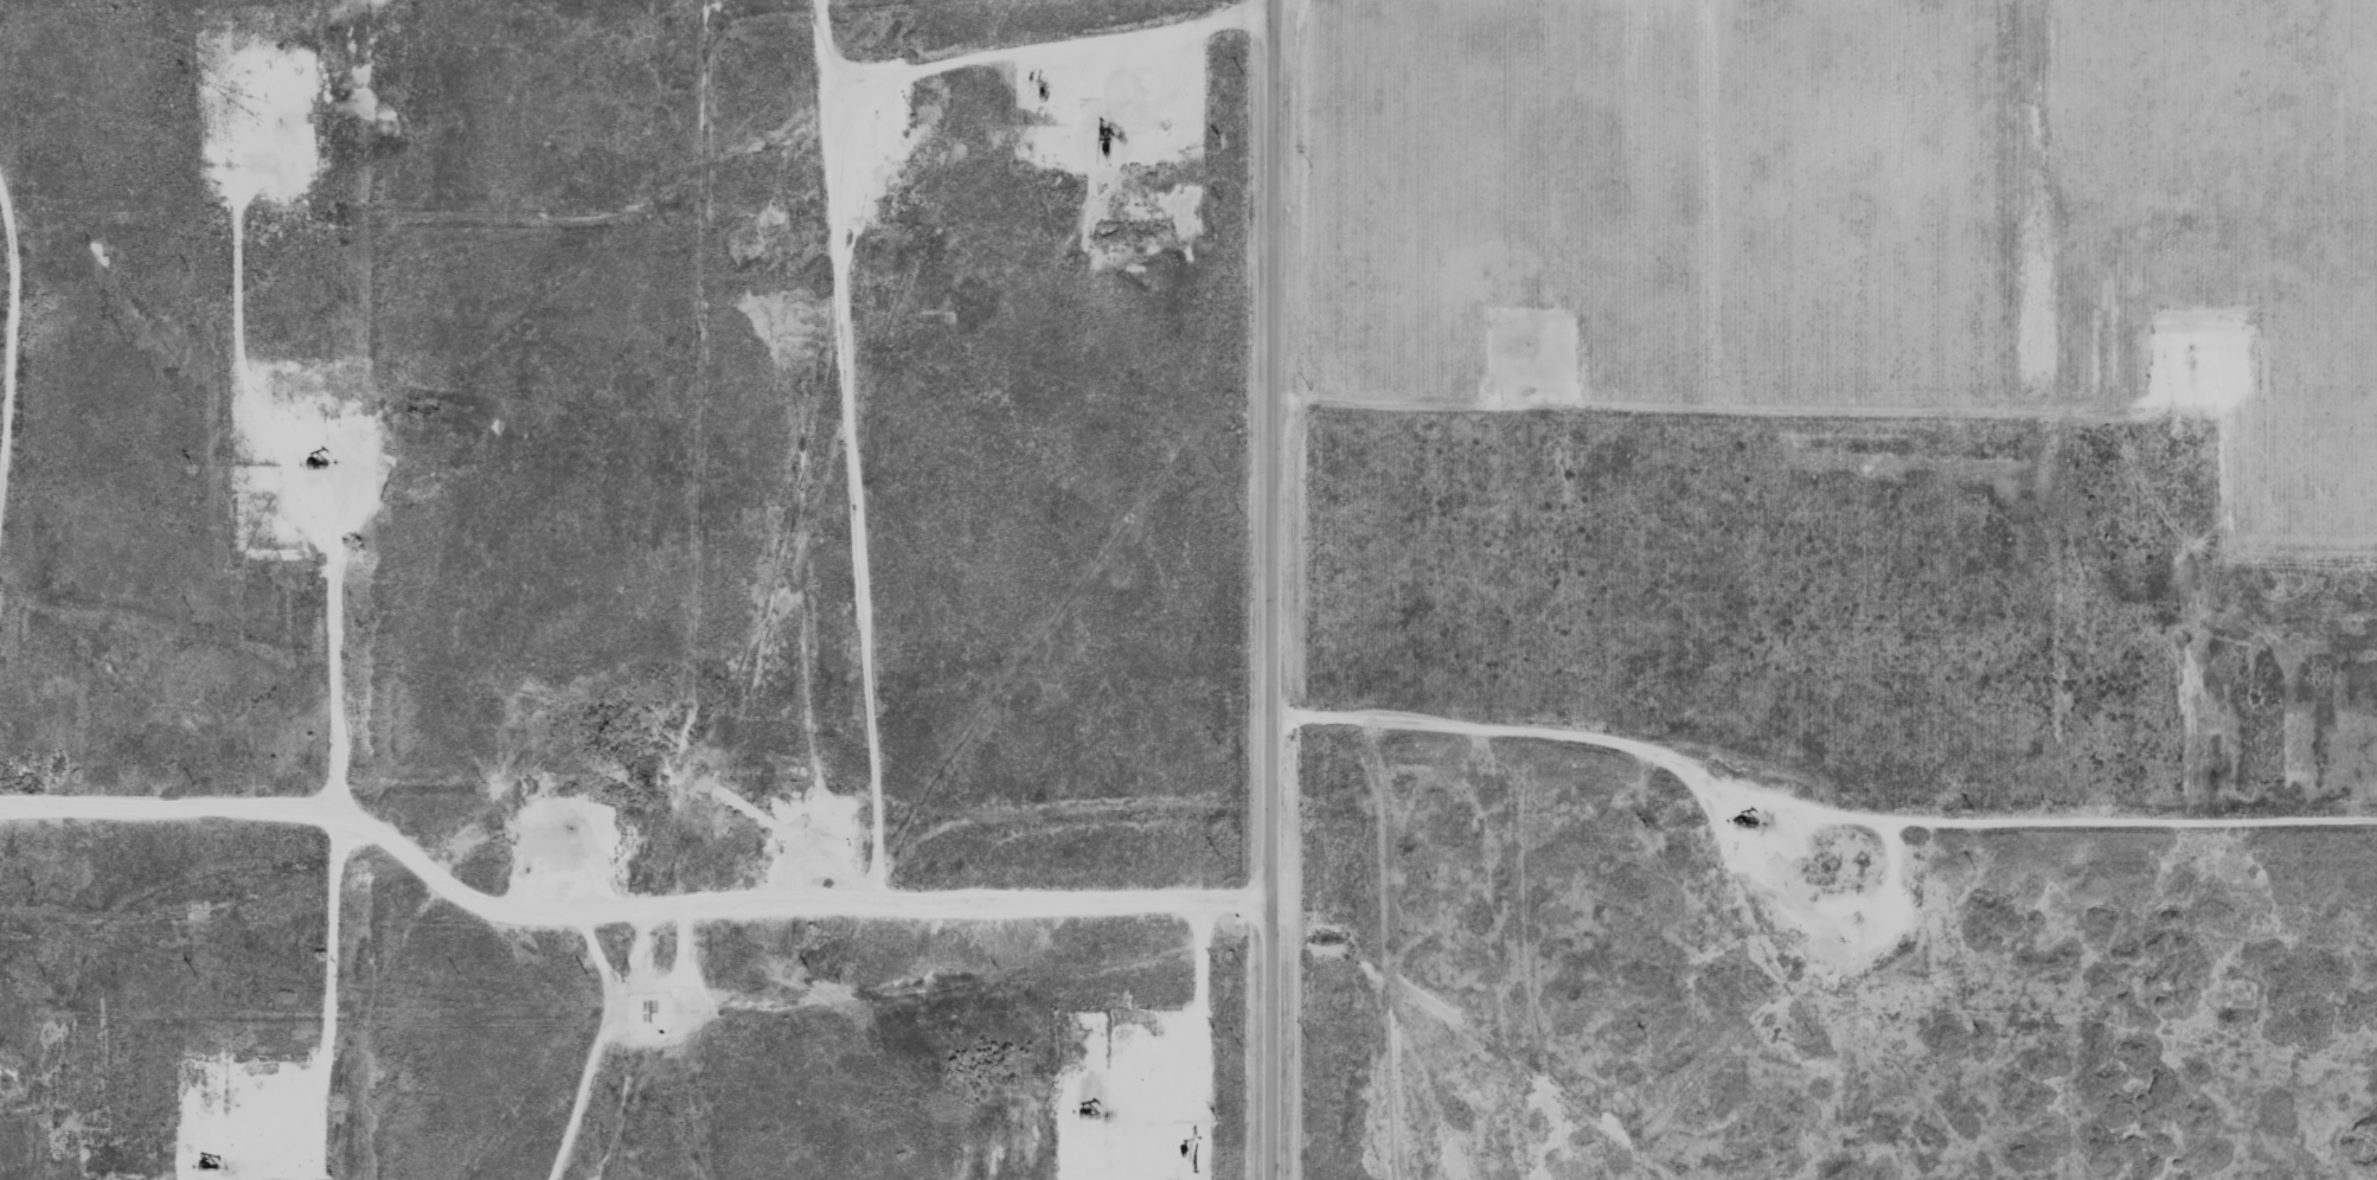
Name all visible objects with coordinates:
petroleum well: (1103, 135)
road: (117, 179)
road: (788, 274)
petroleum well: (315, 462)
road: (1267, 590)
road: (1820, 753)
petroleum well: (1744, 814)
road: (623, 873)
road: (350, 1005)
petroleum well: (205, 1161)

